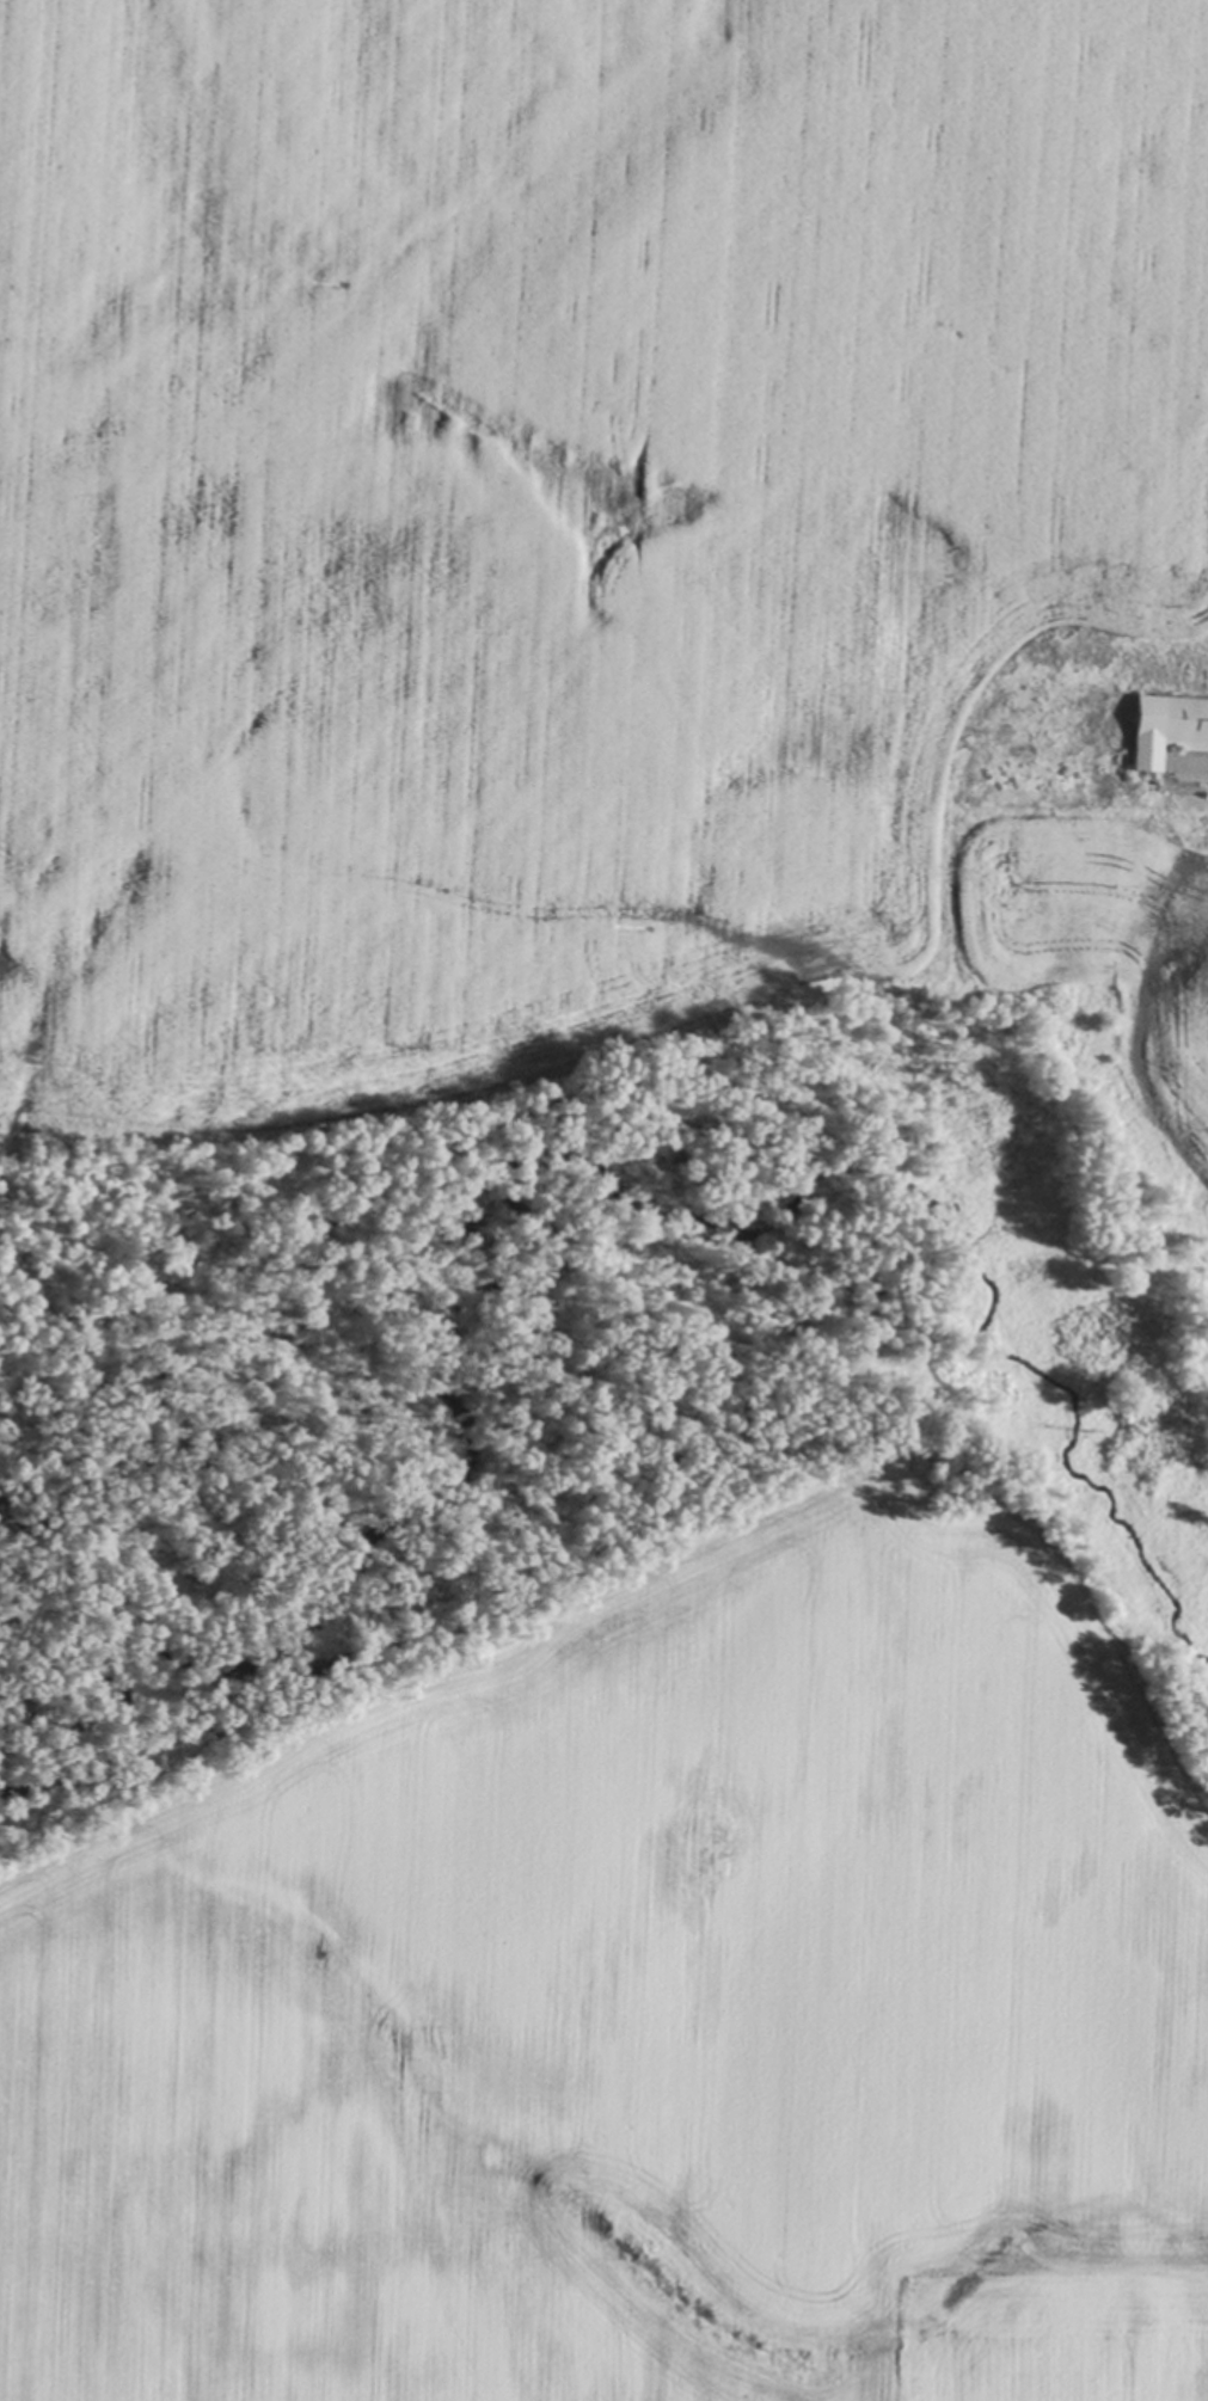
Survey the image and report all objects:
building: (1166, 730)

